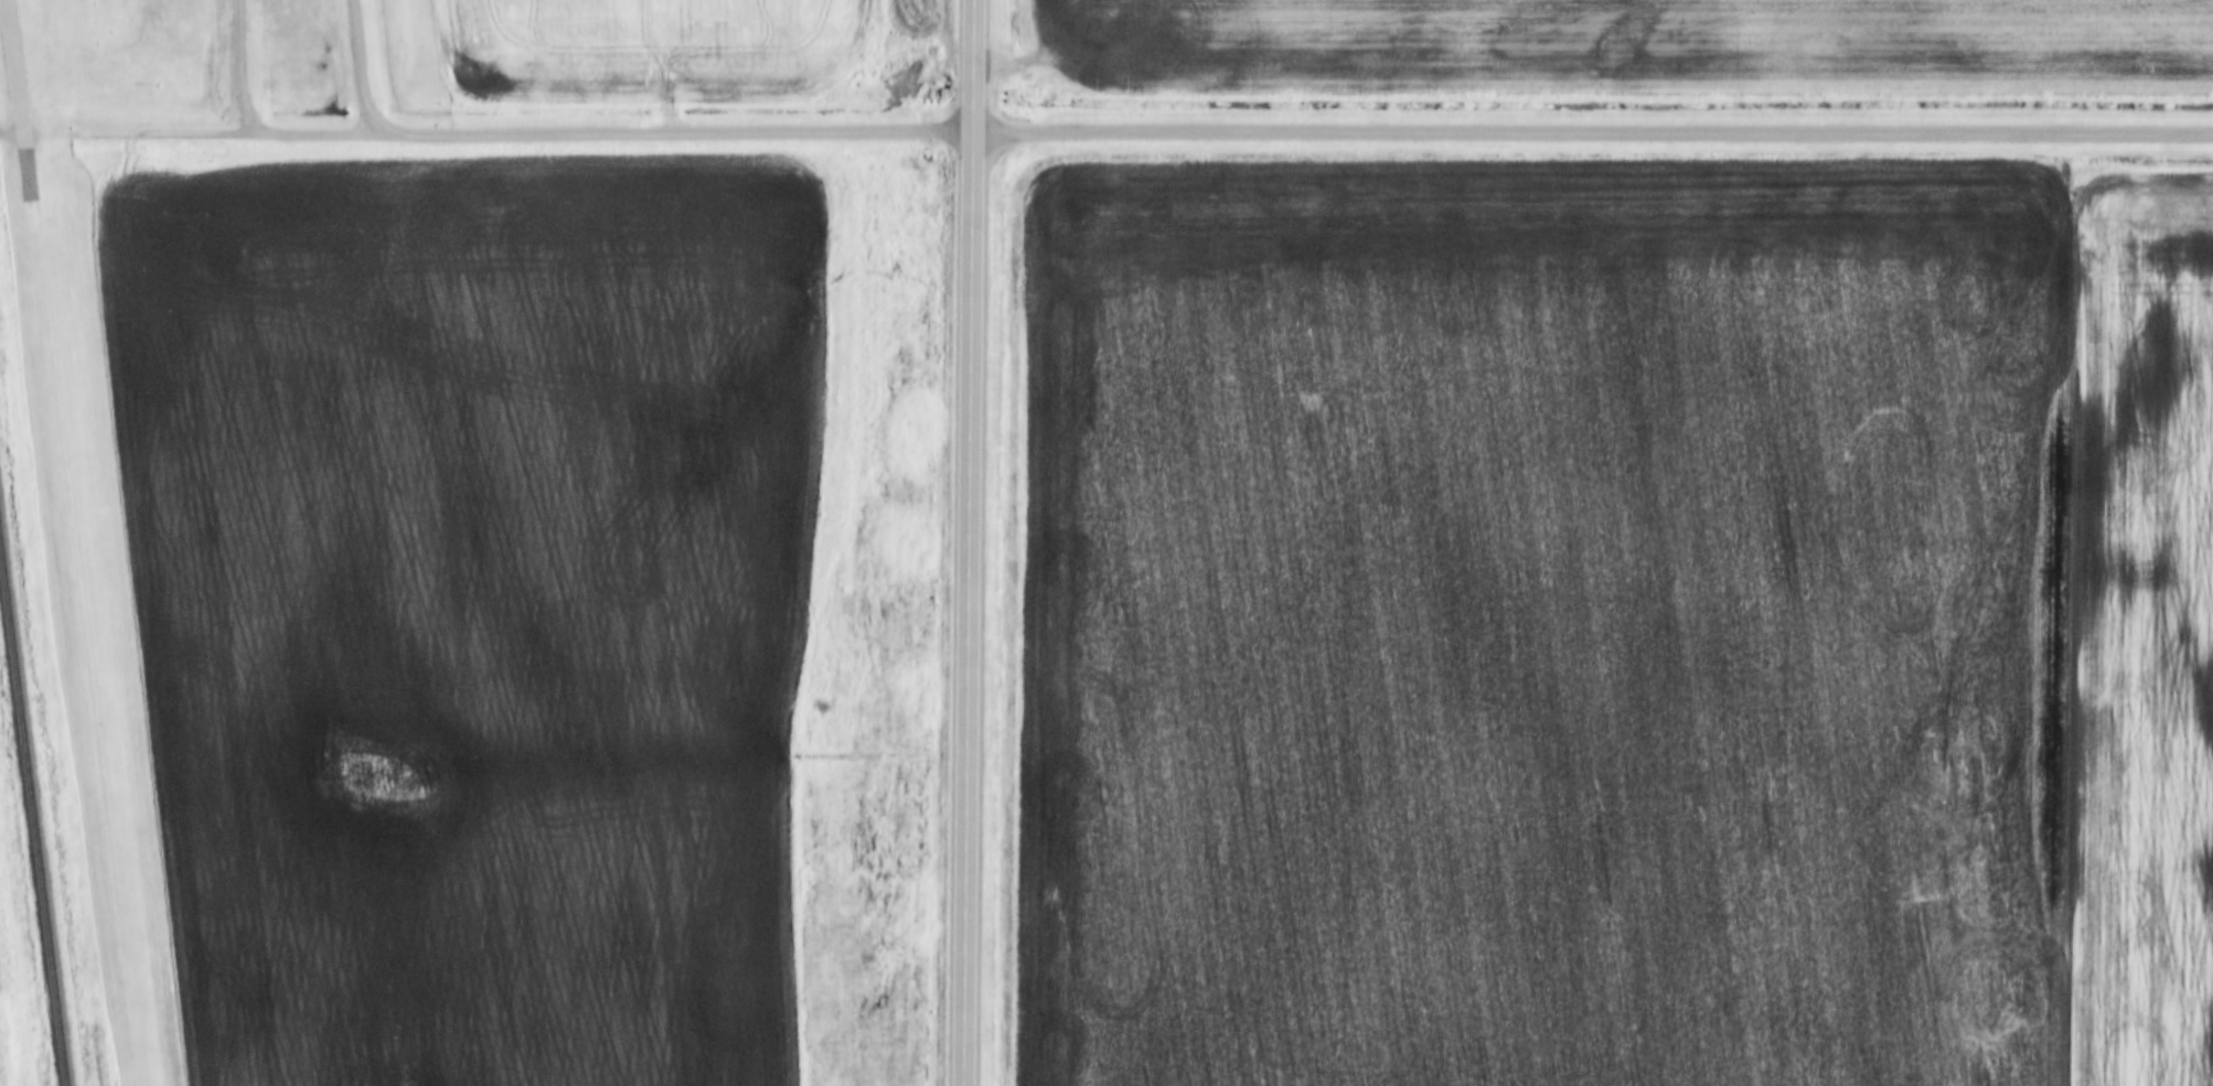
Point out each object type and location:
airport runway: (18, 65)
road: (246, 65)
road: (365, 65)
road: (124, 131)
road: (611, 131)
road: (1593, 137)
road: (972, 542)
airport runway: (82, 609)
airport: (92, 670)
railway: (31, 827)

